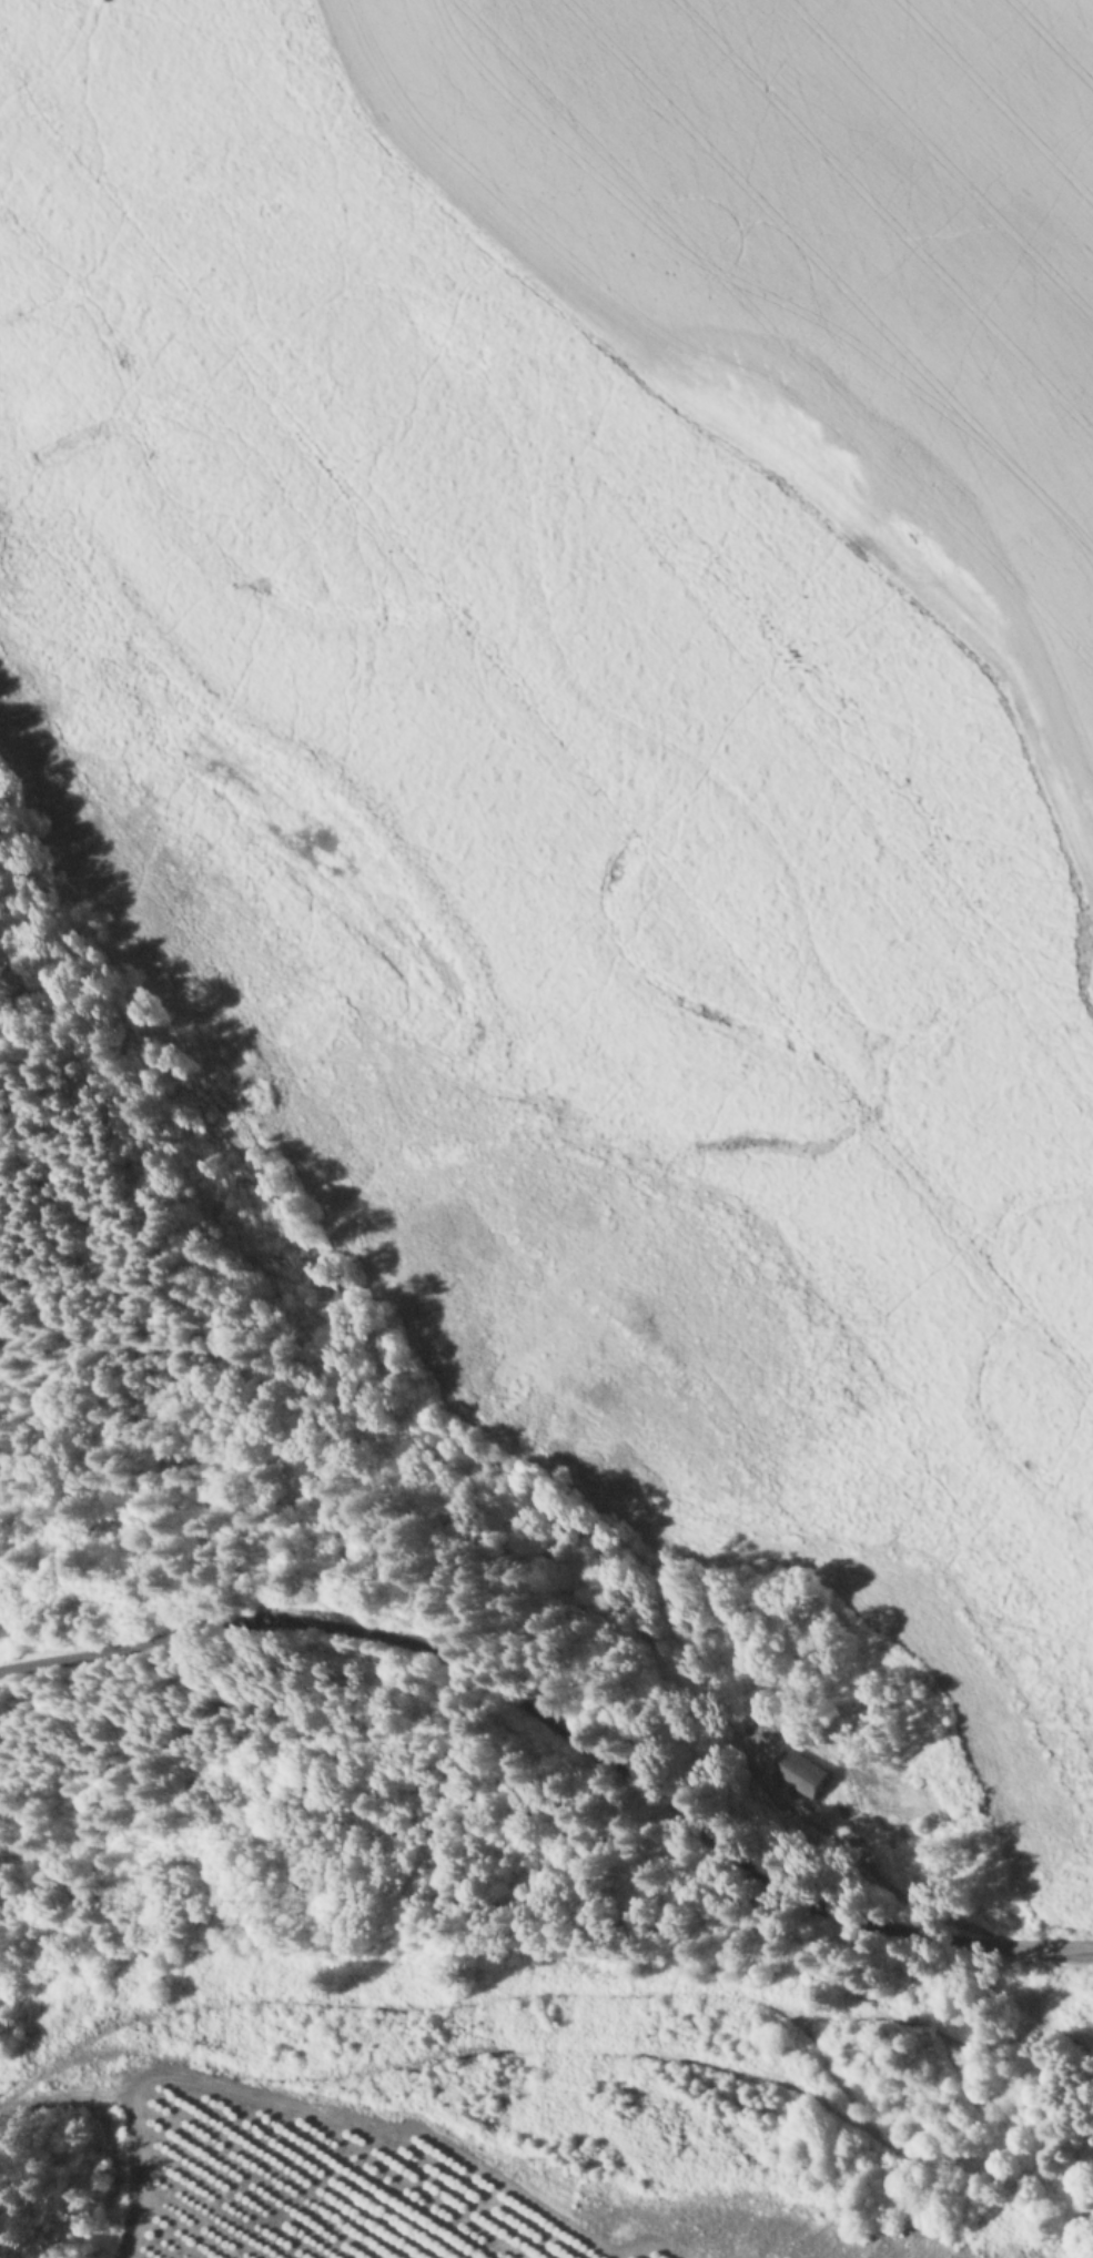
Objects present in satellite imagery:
crop: (616, 733)
road: (558, 1738)
building: (807, 1774)
crop: (316, 2163)

